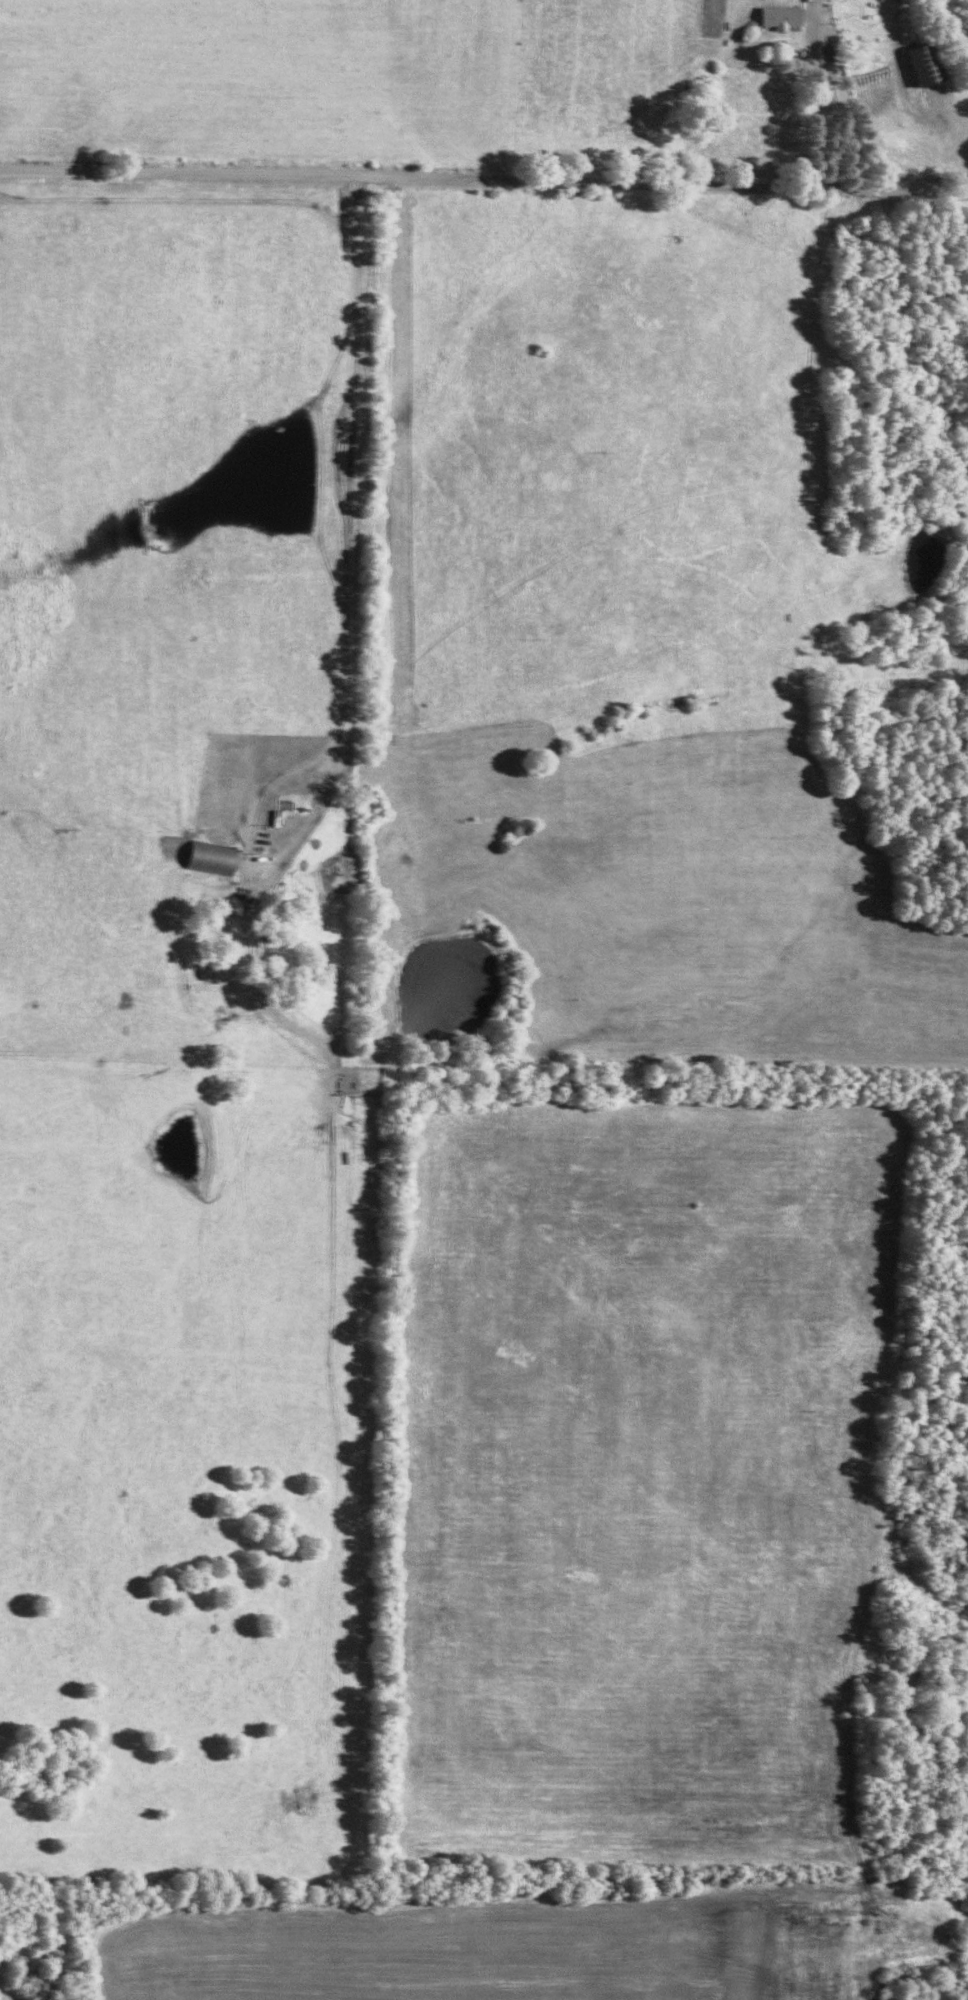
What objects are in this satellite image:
building: (774, 23)
building: (919, 71)
road: (484, 178)
building: (283, 810)
building: (199, 862)
building: (219, 913)

